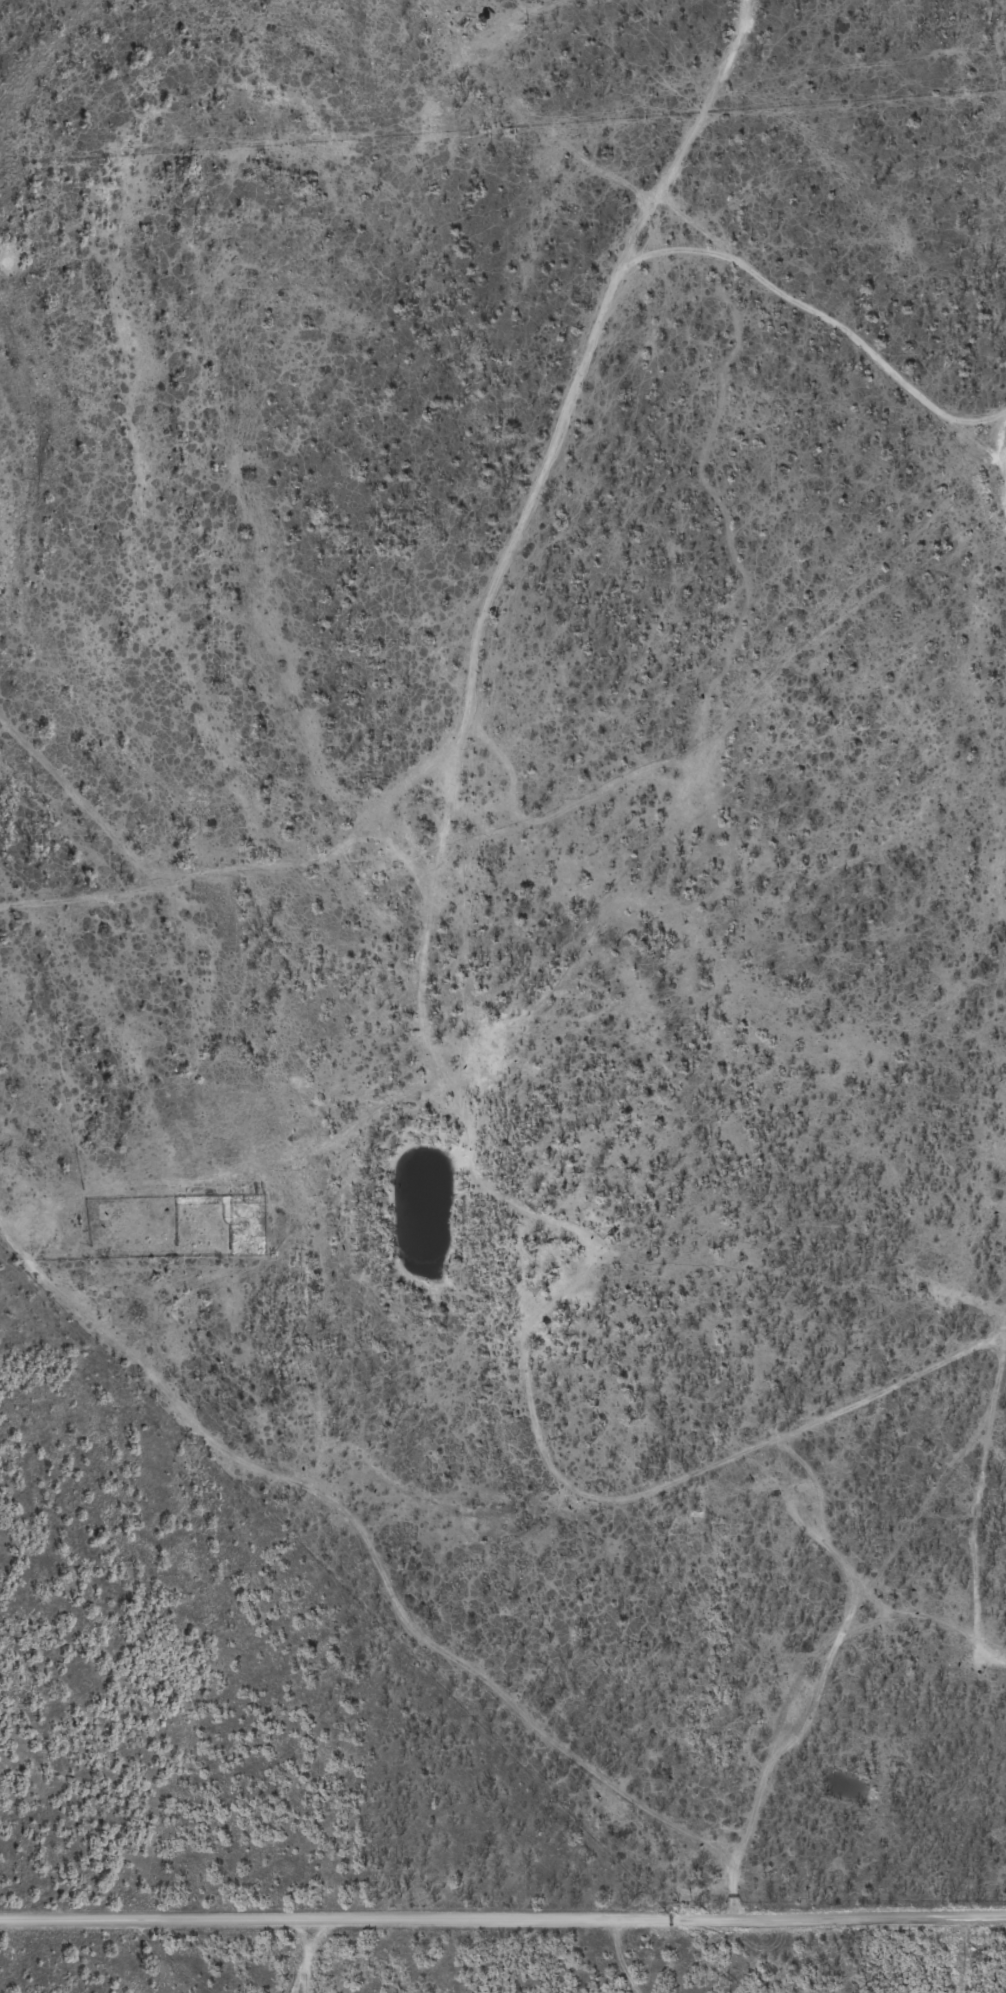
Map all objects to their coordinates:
road: (448, 795)
road: (696, 1474)
road: (368, 1561)
road: (503, 1931)

